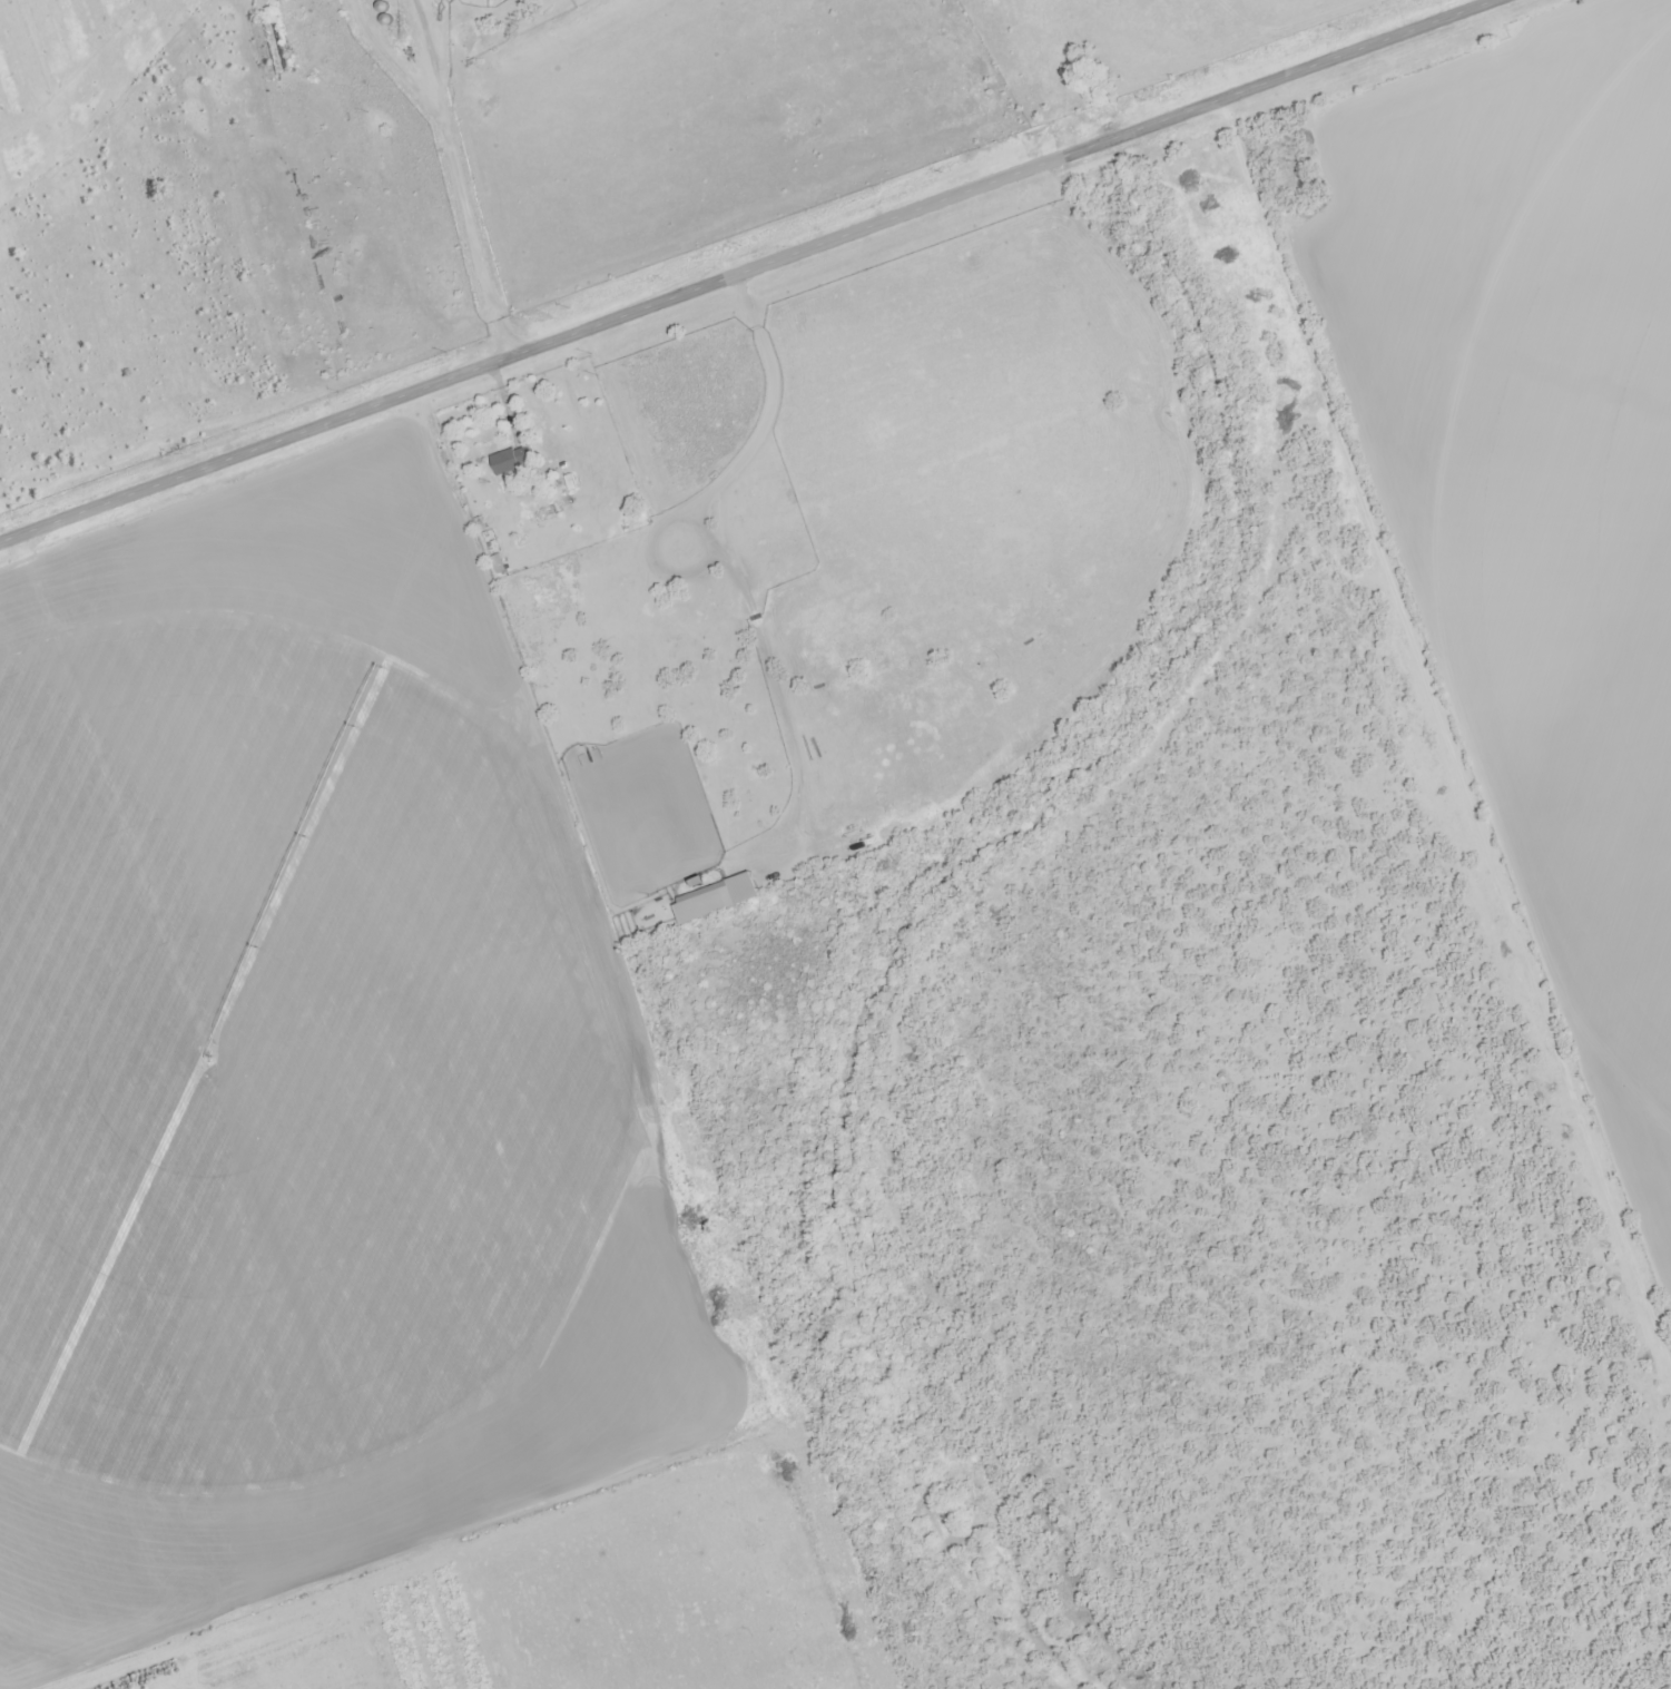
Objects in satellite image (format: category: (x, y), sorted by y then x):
building: (268, 49)
road: (741, 268)
building: (514, 460)

